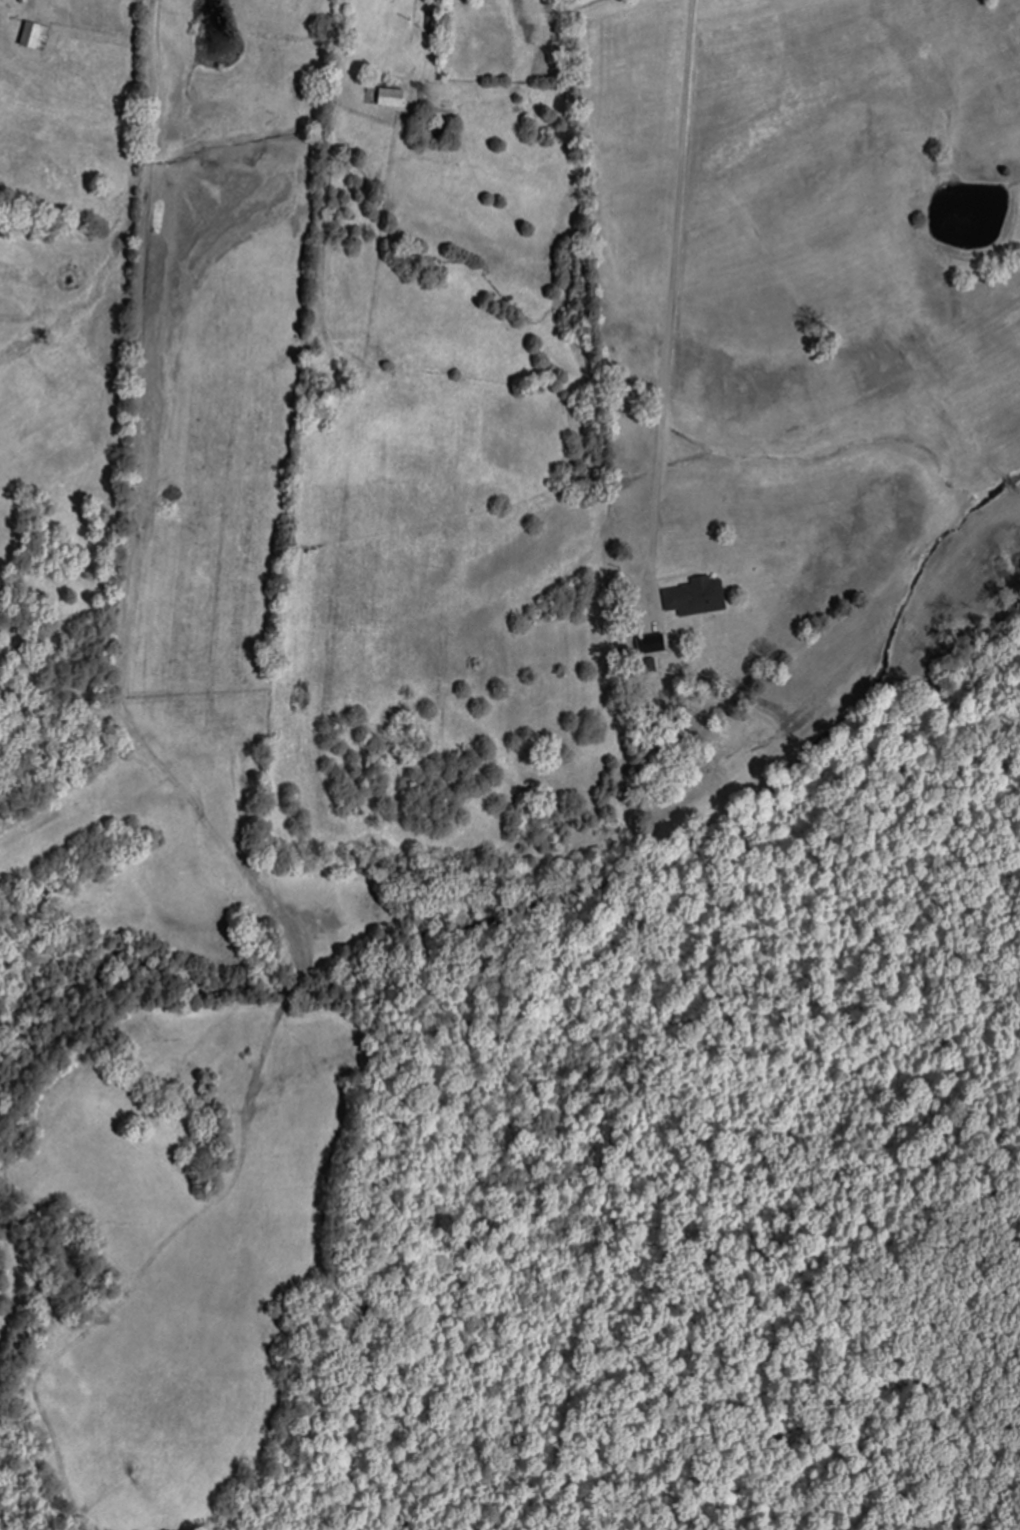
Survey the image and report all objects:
building: (39, 35)
building: (395, 97)
road: (143, 254)
road: (666, 293)
building: (698, 596)

